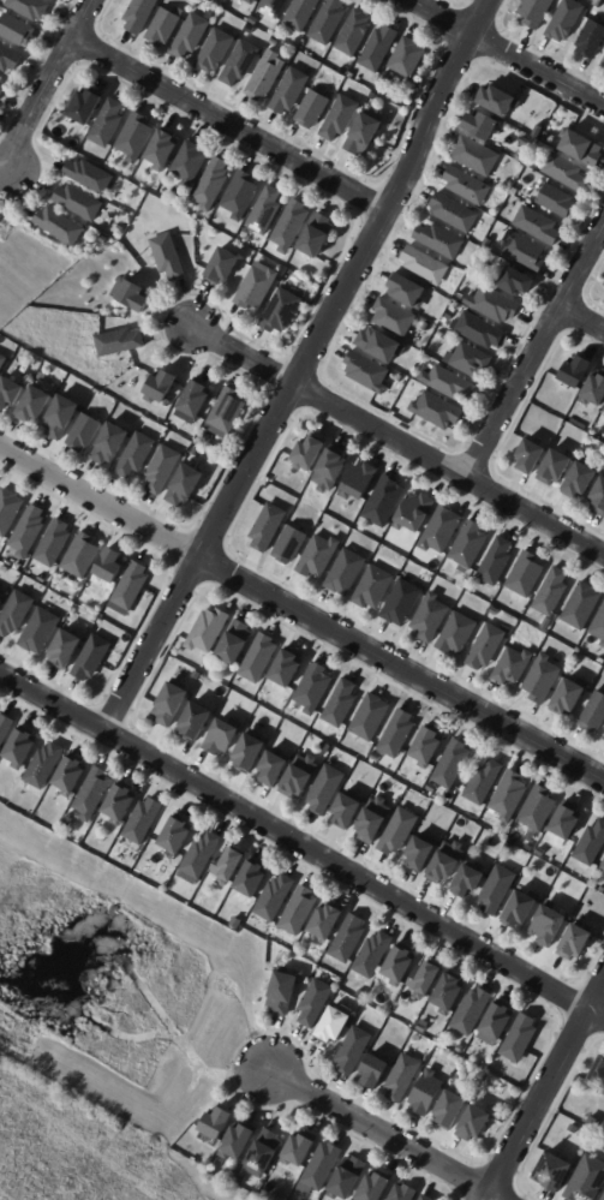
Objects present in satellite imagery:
building: (251, 1)
building: (599, 2)
building: (275, 7)
building: (31, 8)
building: (538, 12)
building: (303, 13)
building: (140, 14)
building: (568, 20)
building: (255, 22)
building: (330, 22)
building: (166, 25)
building: (17, 30)
building: (355, 34)
building: (192, 36)
building: (592, 41)
building: (275, 46)
building: (381, 49)
building: (216, 52)
road: (506, 53)
building: (409, 58)
building: (10, 59)
building: (241, 64)
building: (603, 65)
building: (268, 76)
building: (352, 76)
road: (48, 82)
building: (0, 84)
building: (292, 91)
building: (2, 94)
building: (500, 101)
building: (88, 106)
building: (315, 111)
building: (341, 119)
building: (512, 121)
building: (108, 125)
building: (482, 125)
road: (228, 126)
building: (537, 132)
building: (366, 133)
building: (136, 137)
building: (548, 138)
building: (525, 143)
building: (582, 147)
building: (165, 149)
building: (478, 156)
building: (191, 163)
building: (539, 167)
building: (568, 173)
building: (90, 177)
building: (214, 184)
building: (470, 186)
building: (243, 196)
building: (558, 202)
building: (80, 203)
building: (267, 211)
building: (455, 214)
building: (61, 226)
building: (539, 226)
building: (199, 227)
building: (292, 227)
building: (247, 233)
building: (319, 237)
building: (441, 241)
building: (489, 244)
building: (526, 252)
building: (169, 257)
building: (225, 267)
building: (426, 267)
building: (519, 282)
building: (258, 287)
building: (603, 287)
building: (409, 291)
building: (132, 295)
building: (497, 305)
building: (282, 312)
building: (451, 316)
road: (584, 317)
building: (395, 318)
building: (427, 327)
building: (483, 332)
building: (445, 334)
building: (120, 342)
building: (383, 346)
road: (537, 356)
building: (72, 359)
building: (473, 360)
building: (2, 363)
road: (300, 368)
building: (576, 371)
building: (369, 374)
building: (42, 378)
building: (451, 383)
building: (162, 387)
building: (594, 389)
building: (11, 394)
building: (197, 399)
building: (554, 404)
building: (36, 406)
building: (228, 411)
building: (439, 412)
building: (62, 418)
building: (85, 434)
building: (199, 440)
road: (396, 441)
building: (112, 444)
building: (306, 453)
building: (197, 454)
building: (137, 456)
building: (531, 456)
building: (556, 467)
building: (329, 470)
building: (163, 471)
building: (581, 482)
building: (186, 486)
building: (355, 486)
building: (599, 498)
building: (382, 506)
building: (8, 512)
building: (415, 513)
building: (269, 529)
building: (443, 531)
building: (29, 532)
building: (54, 544)
building: (291, 545)
building: (471, 545)
building: (83, 557)
building: (319, 557)
building: (497, 562)
building: (112, 566)
building: (346, 573)
building: (527, 575)
building: (43, 579)
building: (373, 589)
building: (131, 590)
building: (552, 593)
building: (0, 598)
building: (402, 603)
building: (1, 604)
building: (582, 607)
road: (300, 613)
building: (17, 614)
building: (94, 619)
building: (431, 619)
building: (546, 623)
building: (599, 627)
building: (41, 632)
building: (209, 632)
building: (459, 634)
building: (237, 644)
building: (603, 645)
building: (488, 647)
building: (66, 651)
building: (92, 658)
building: (259, 659)
building: (514, 668)
building: (287, 670)
building: (197, 676)
building: (543, 679)
building: (315, 689)
building: (569, 697)
building: (171, 705)
building: (342, 705)
building: (594, 714)
building: (371, 718)
building: (196, 723)
building: (5, 729)
building: (221, 735)
building: (397, 735)
building: (603, 738)
building: (427, 747)
building: (22, 748)
building: (249, 754)
building: (273, 765)
building: (453, 765)
building: (44, 766)
building: (298, 775)
building: (72, 776)
building: (484, 783)
building: (324, 788)
building: (433, 789)
building: (94, 795)
building: (509, 798)
building: (121, 805)
building: (346, 808)
building: (539, 810)
building: (372, 819)
building: (568, 822)
building: (143, 823)
building: (397, 830)
building: (178, 836)
road: (301, 846)
building: (592, 846)
building: (420, 852)
building: (202, 856)
building: (445, 861)
building: (227, 865)
building: (603, 868)
building: (255, 879)
building: (470, 882)
building: (498, 891)
building: (275, 900)
building: (522, 911)
building: (299, 913)
building: (328, 923)
building: (237, 924)
building: (548, 925)
building: (349, 941)
building: (576, 944)
building: (373, 956)
building: (400, 966)
building: (425, 980)
building: (283, 993)
building: (449, 995)
building: (316, 1004)
building: (471, 1013)
building: (500, 1021)
building: (334, 1028)
building: (521, 1040)
building: (354, 1052)
building: (375, 1074)
building: (598, 1076)
building: (403, 1080)
road: (546, 1092)
building: (426, 1094)
building: (450, 1112)
building: (474, 1124)
building: (217, 1127)
road: (387, 1135)
building: (239, 1144)
building: (300, 1151)
building: (264, 1156)
building: (323, 1169)
building: (555, 1171)
building: (241, 1181)
building: (348, 1181)
building: (587, 1181)
building: (376, 1187)
building: (403, 1194)
building: (279, 1195)
building: (424, 1199)
building: (603, 1199)

